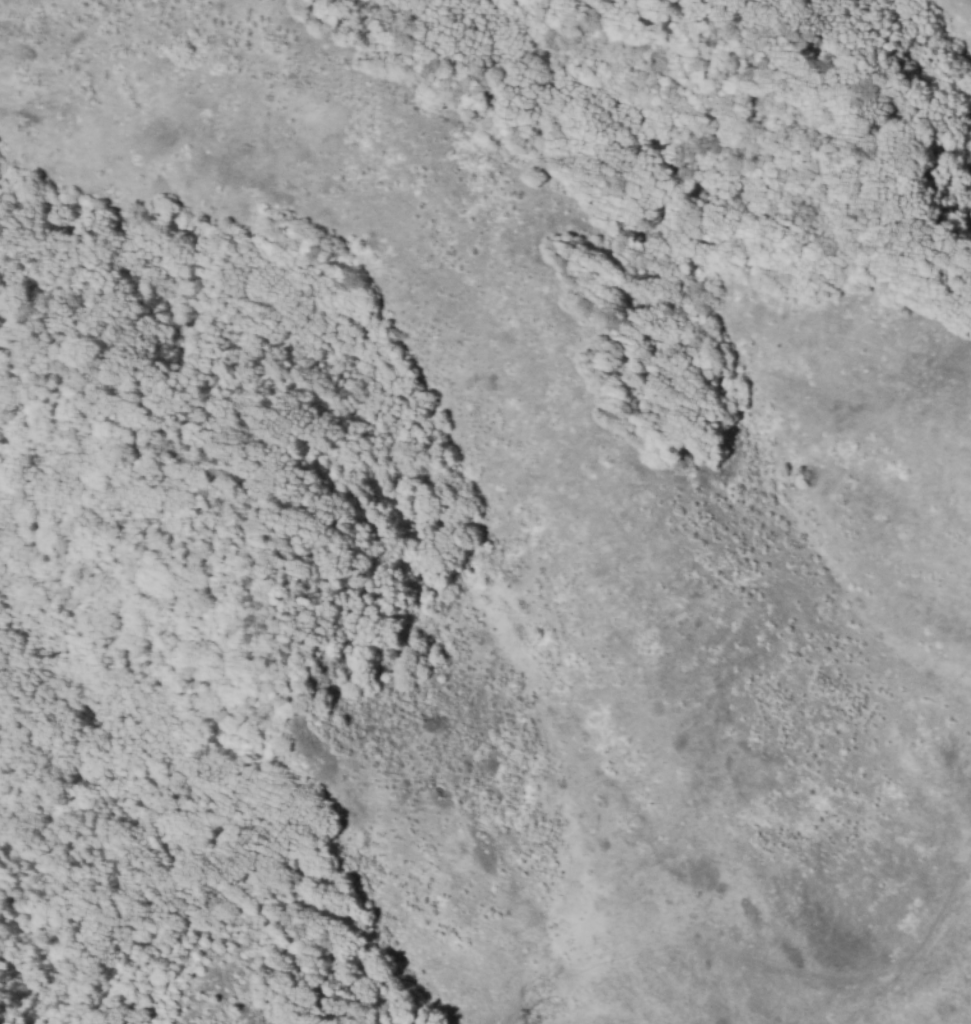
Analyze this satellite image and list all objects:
road: (882, 984)

